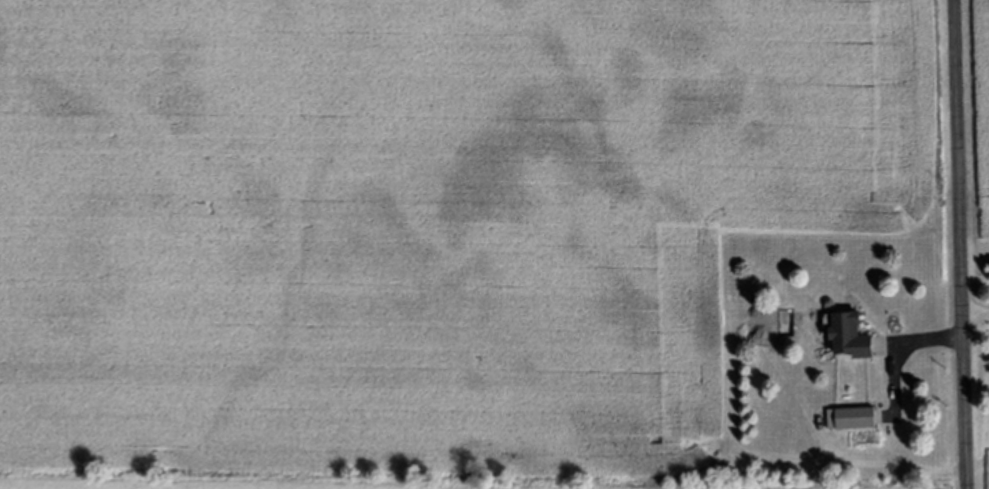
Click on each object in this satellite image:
road: (958, 244)
building: (854, 334)
road: (897, 345)
building: (859, 417)

